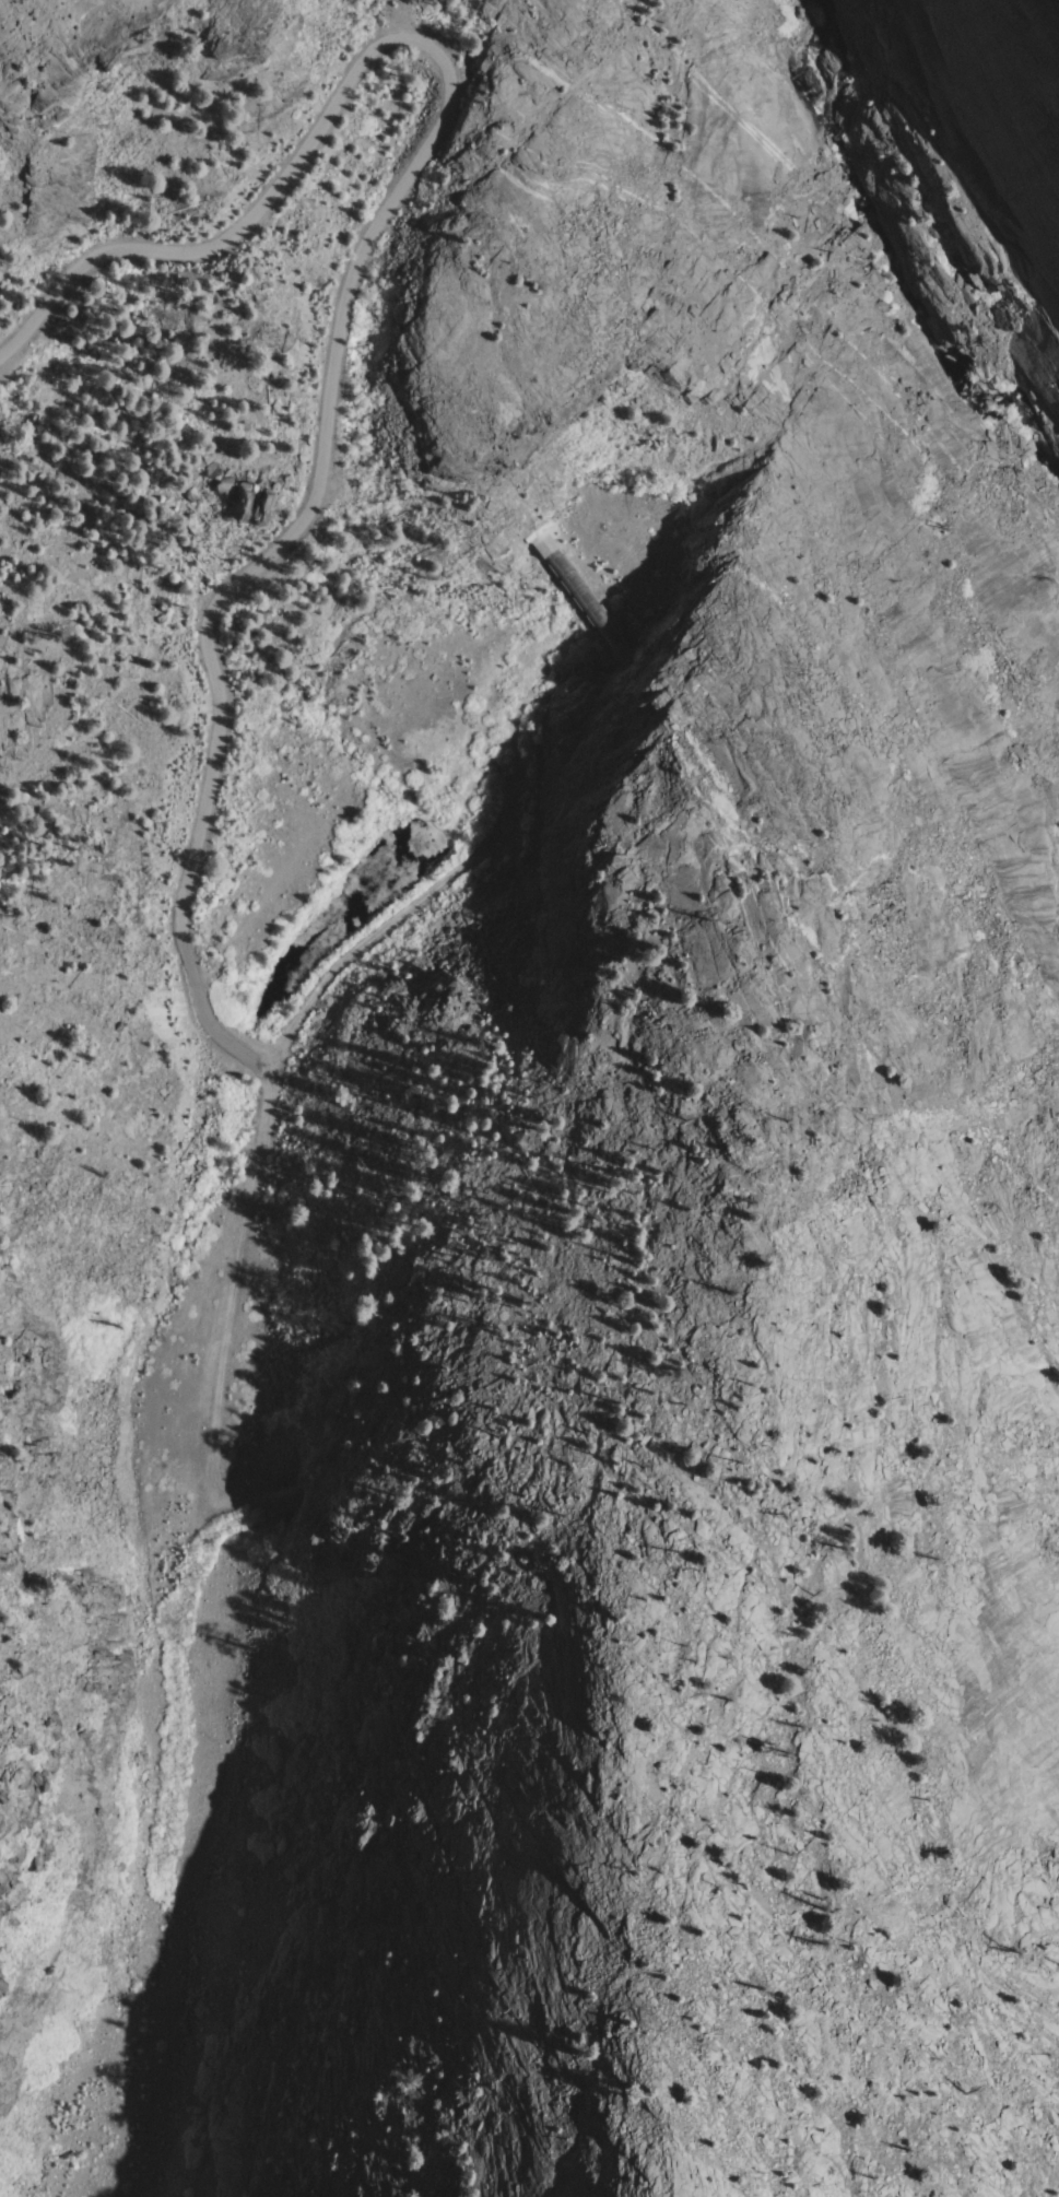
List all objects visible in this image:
road: (345, 295)
road: (235, 1312)

